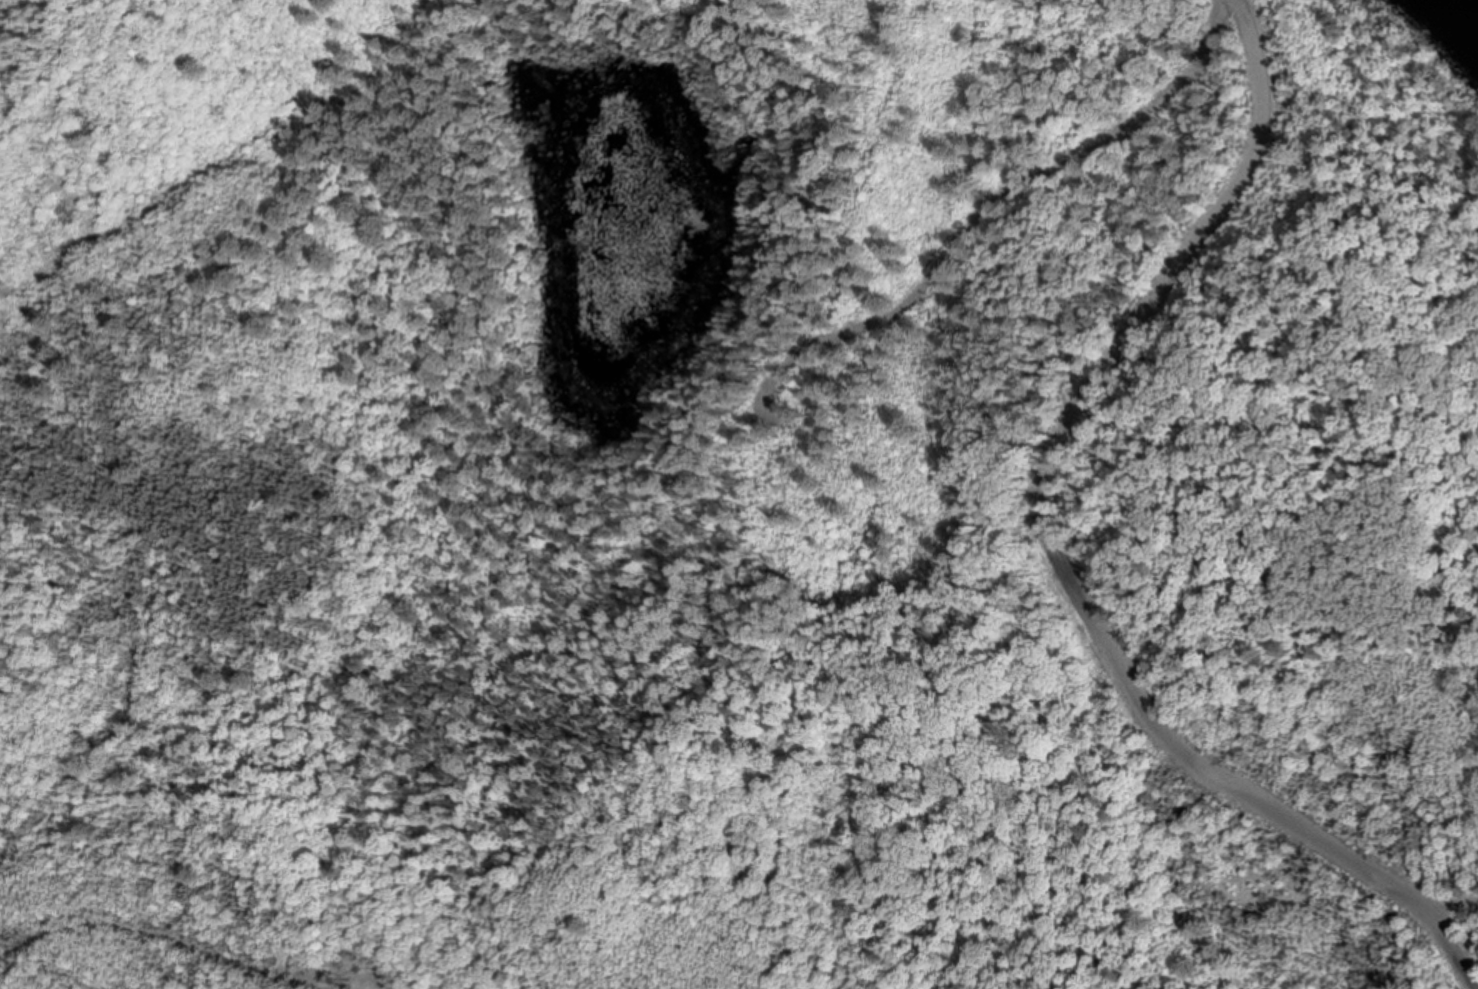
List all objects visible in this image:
road: (1059, 549)
road: (1447, 899)

